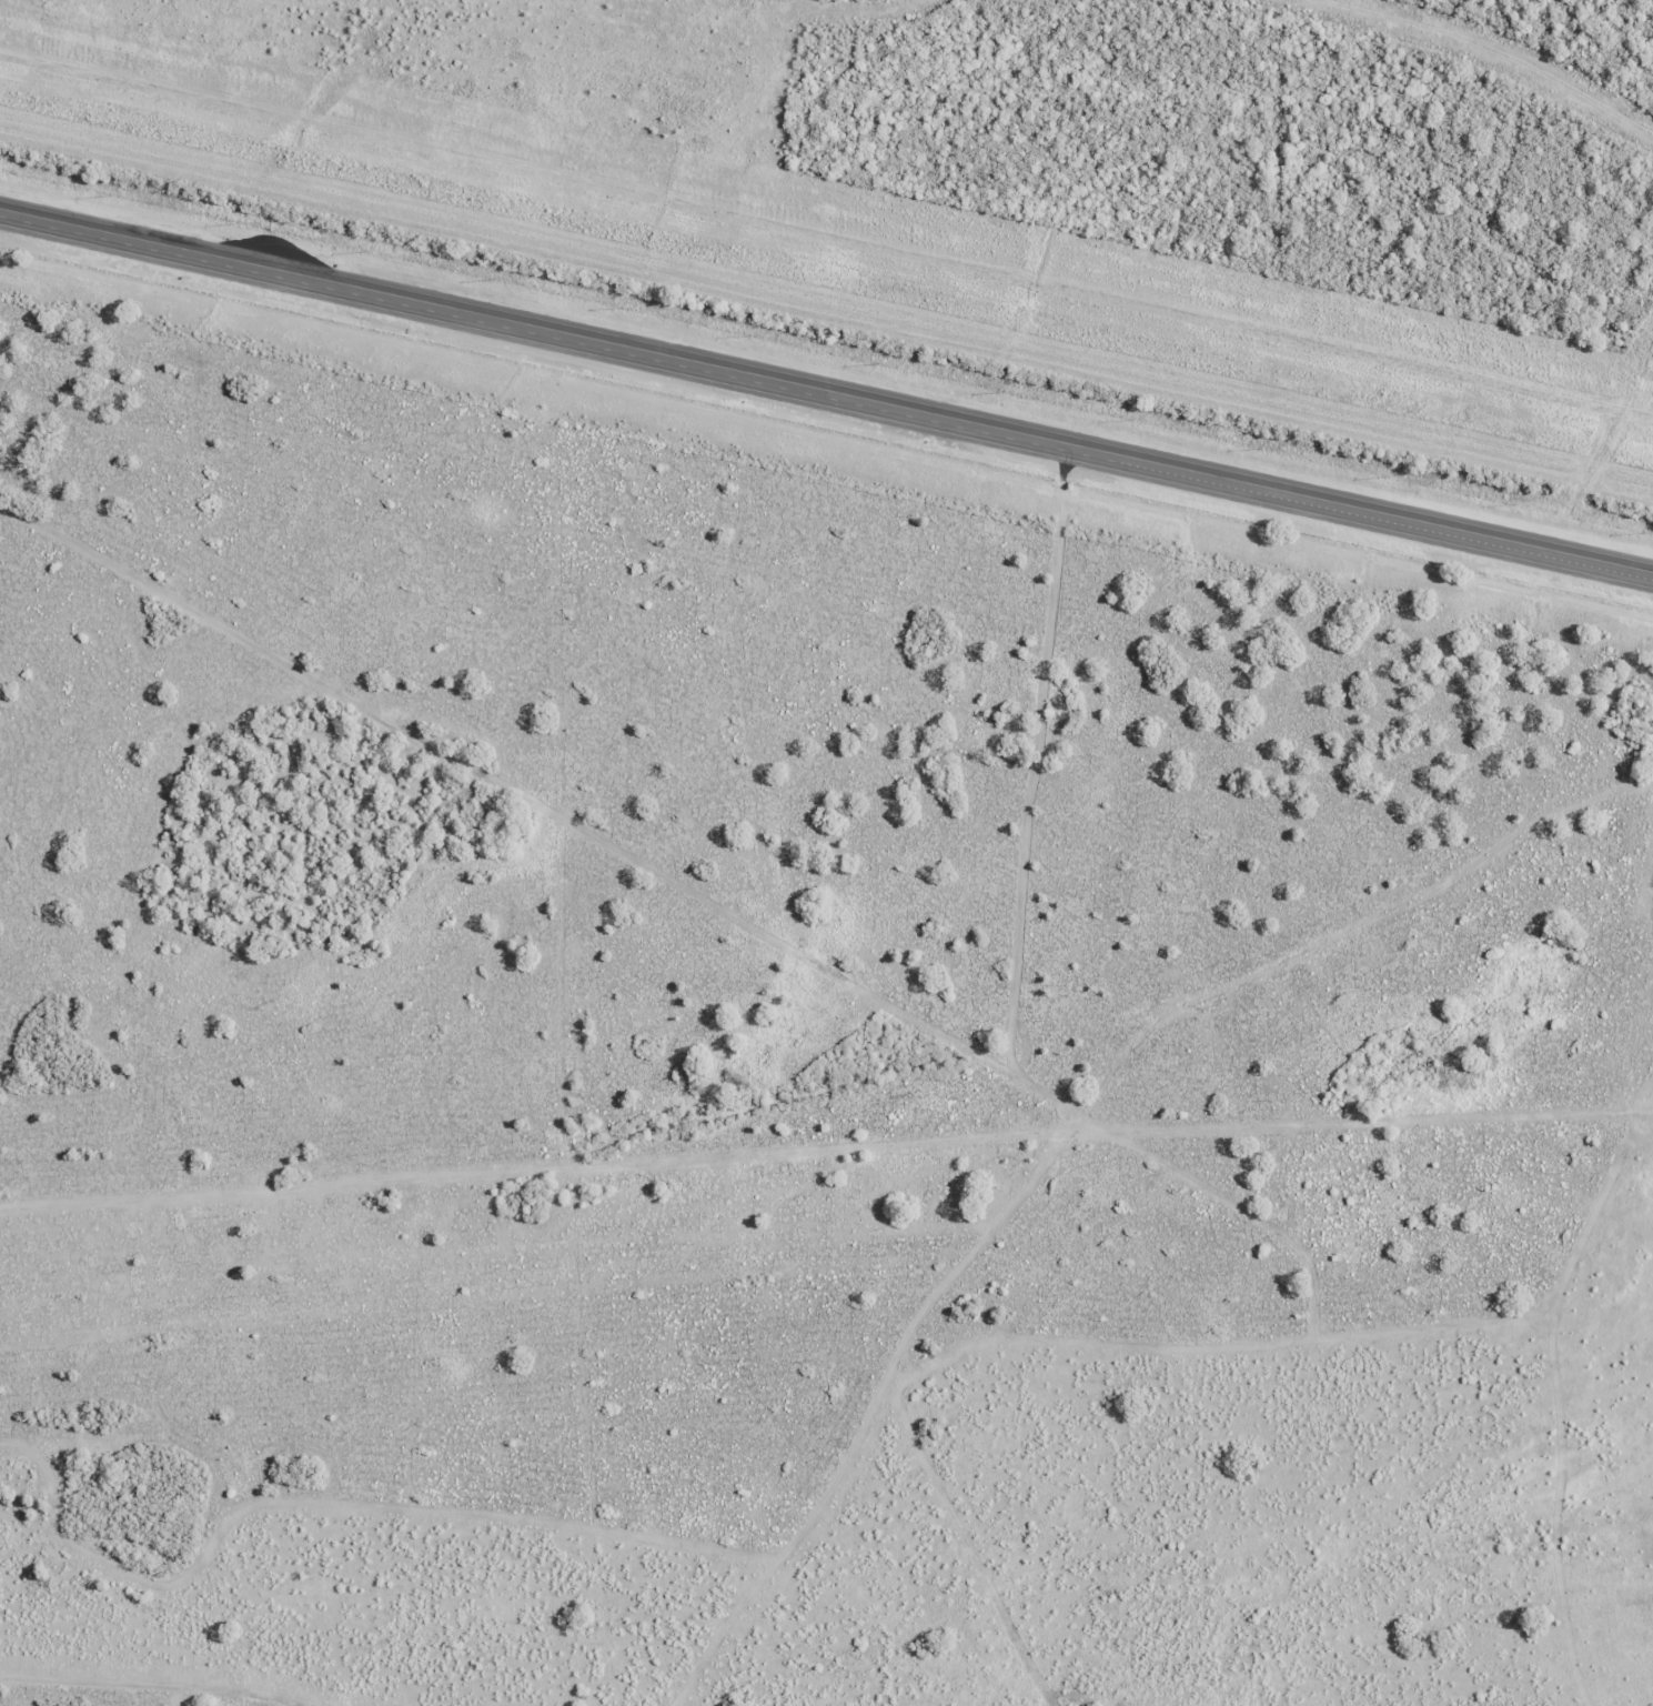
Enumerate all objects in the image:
road: (1488, 69)
road: (826, 392)

